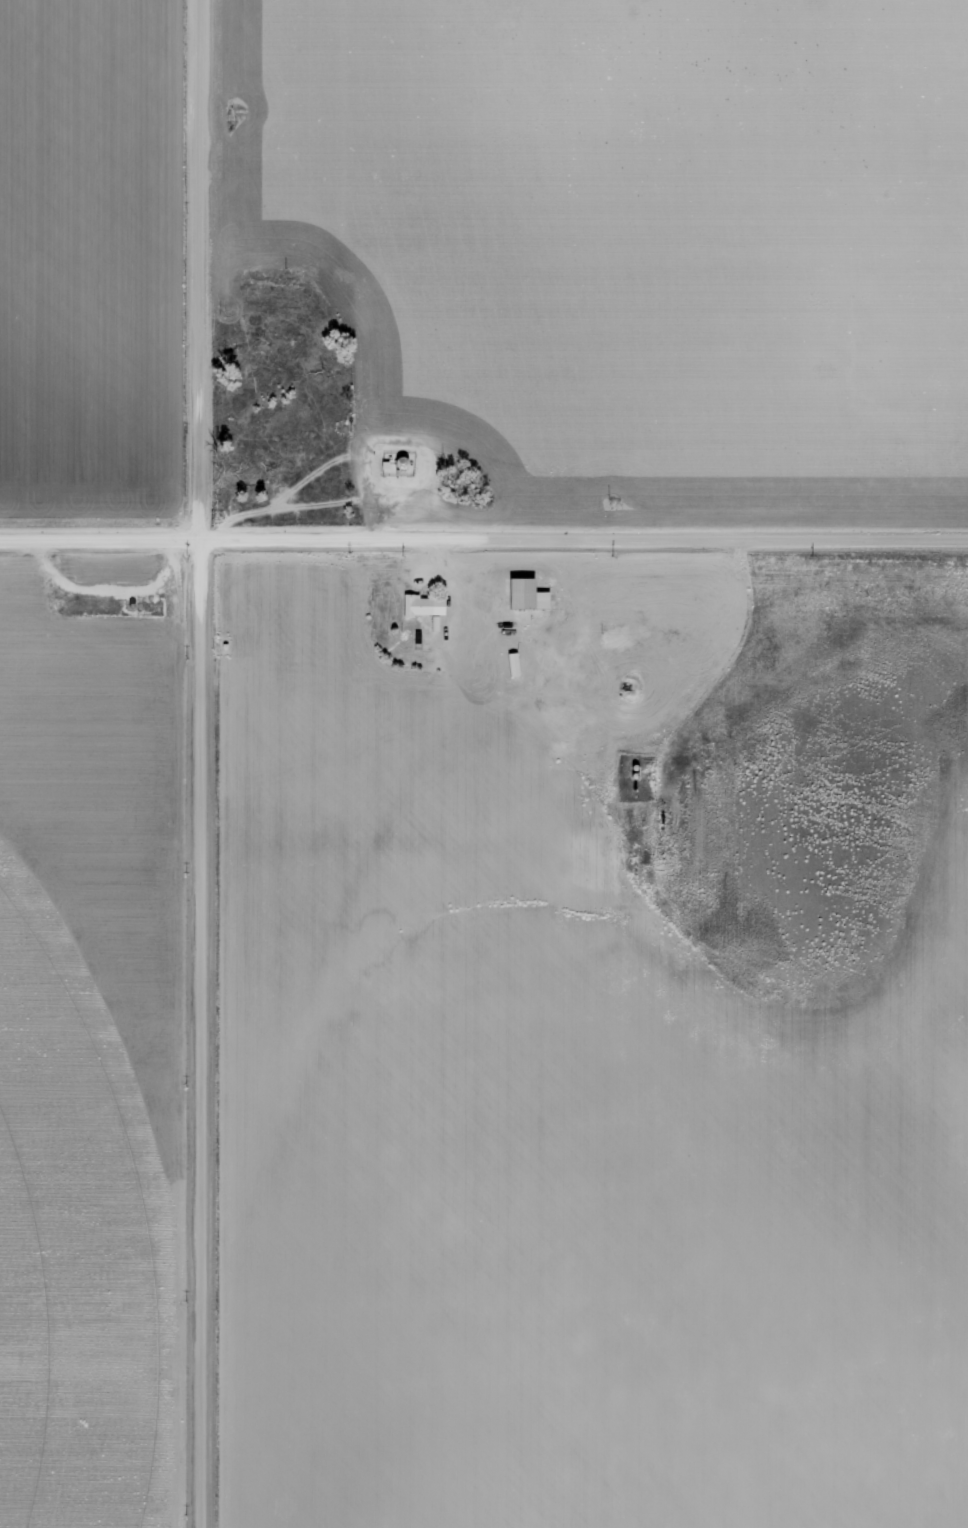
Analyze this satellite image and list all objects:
road: (483, 540)
building: (422, 605)
road: (203, 764)

